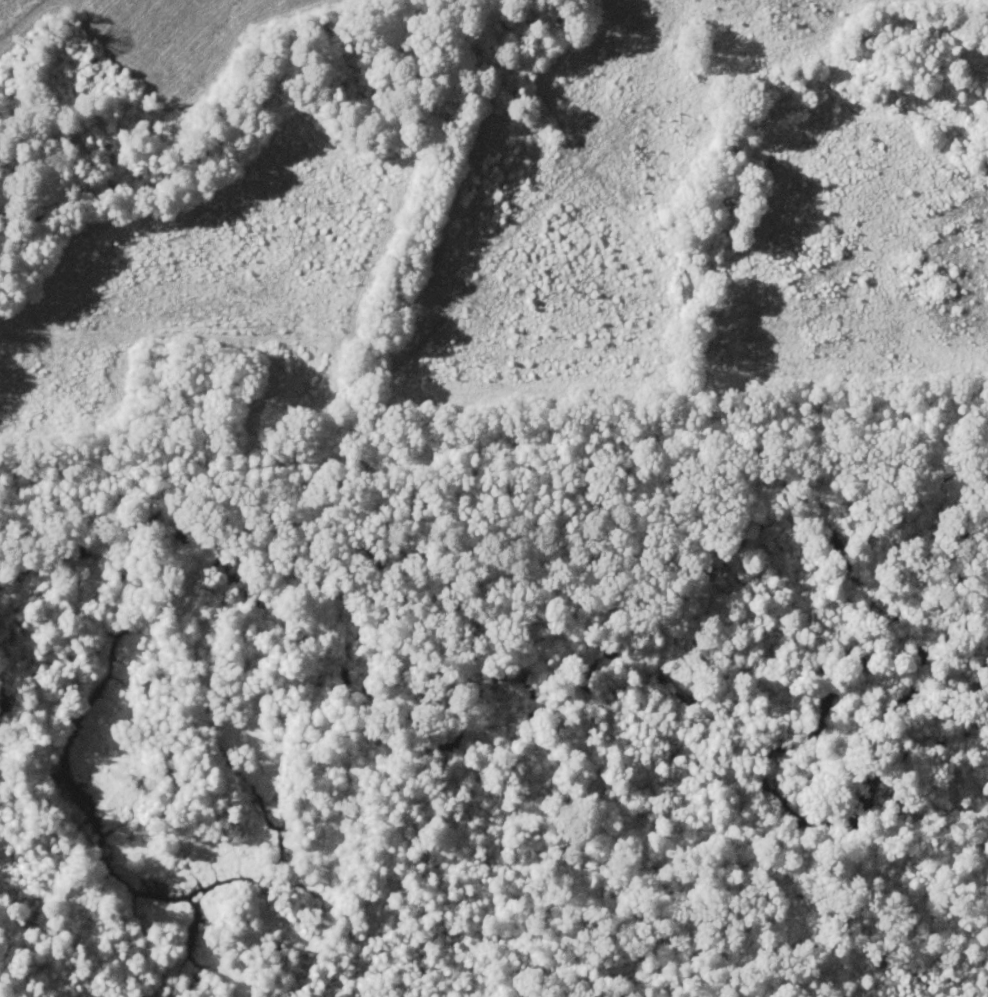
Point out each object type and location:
railway: (494, 451)

